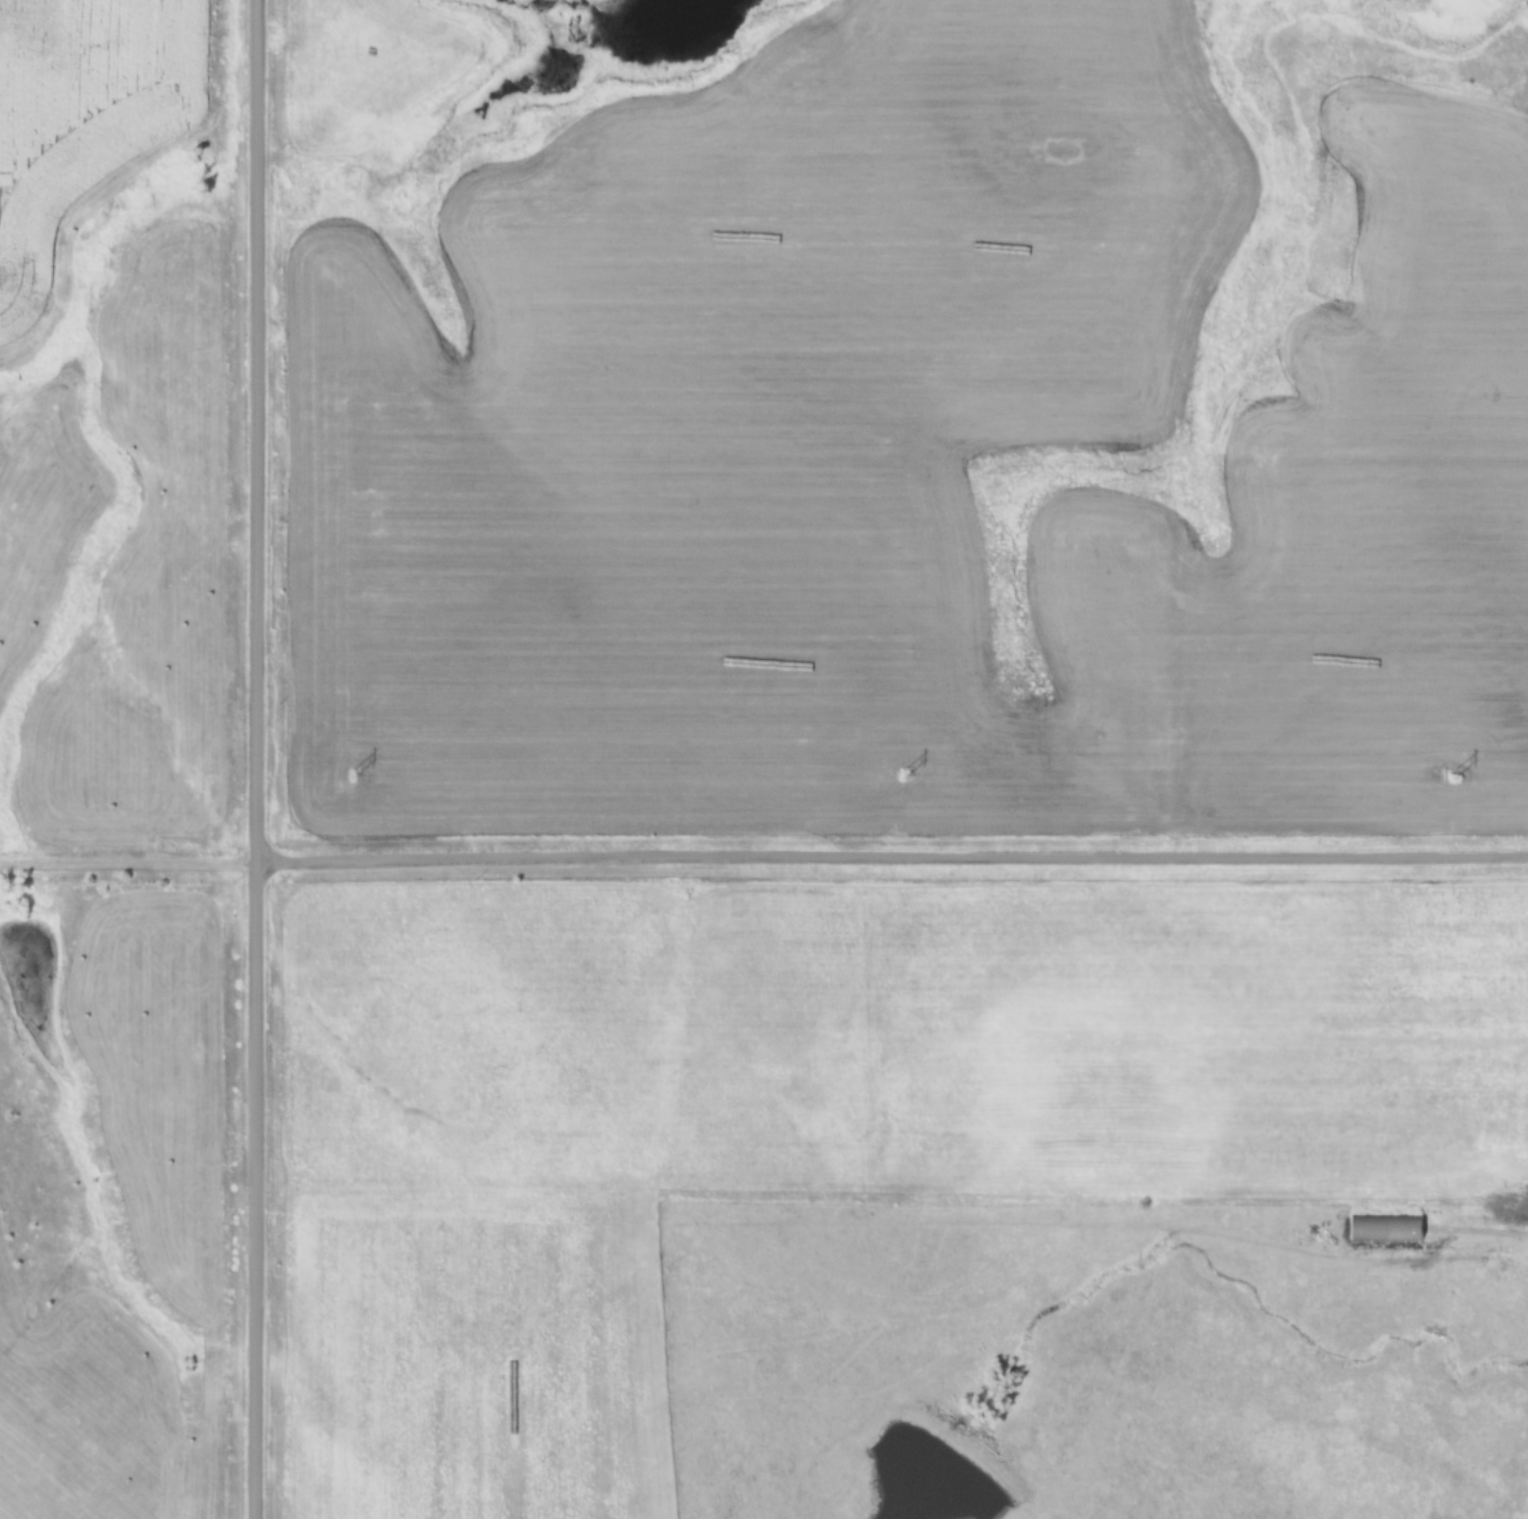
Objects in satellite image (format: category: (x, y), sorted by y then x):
road: (254, 759)
power tower: (350, 774)
power tower: (901, 774)
power tower: (1452, 774)
road: (890, 856)
road: (127, 860)
building: (1384, 1226)

